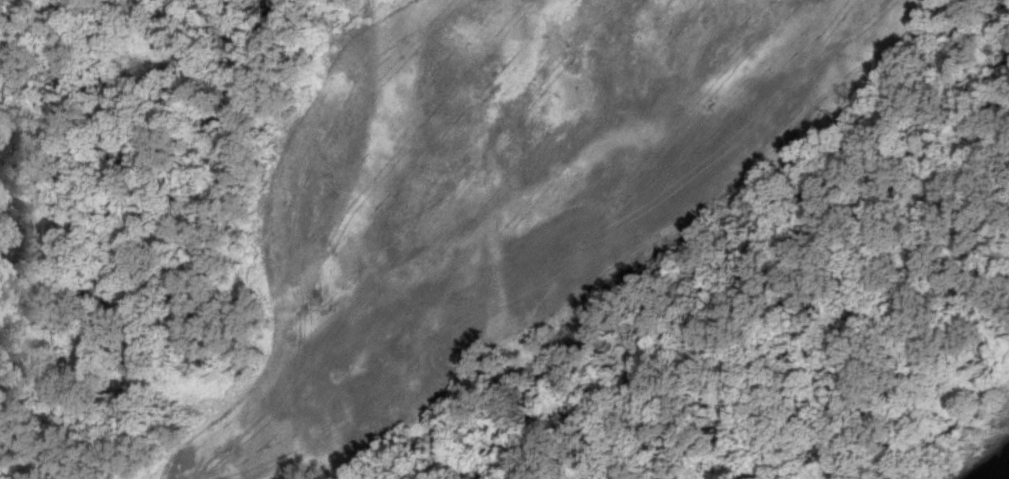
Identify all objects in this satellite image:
crop: (504, 190)

